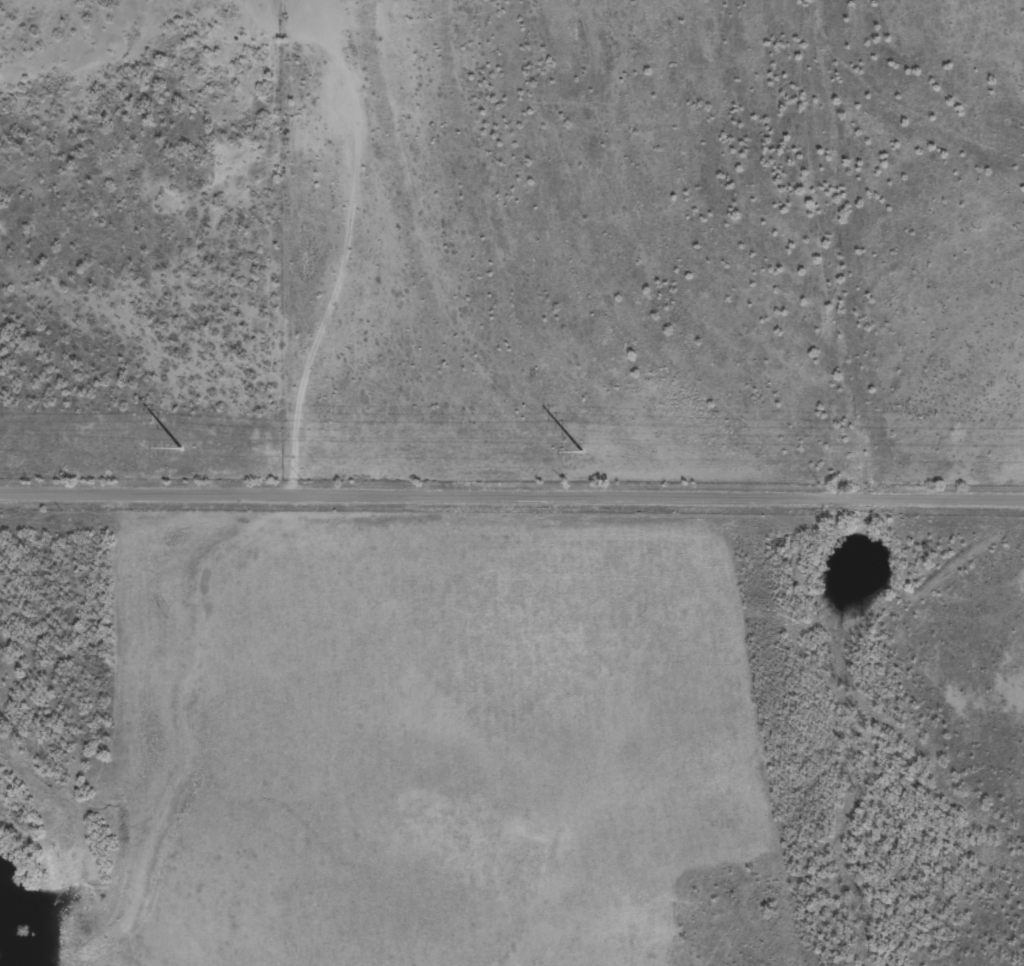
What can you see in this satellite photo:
power tower: (180, 448)
power tower: (583, 451)
road: (512, 491)
road: (126, 669)

